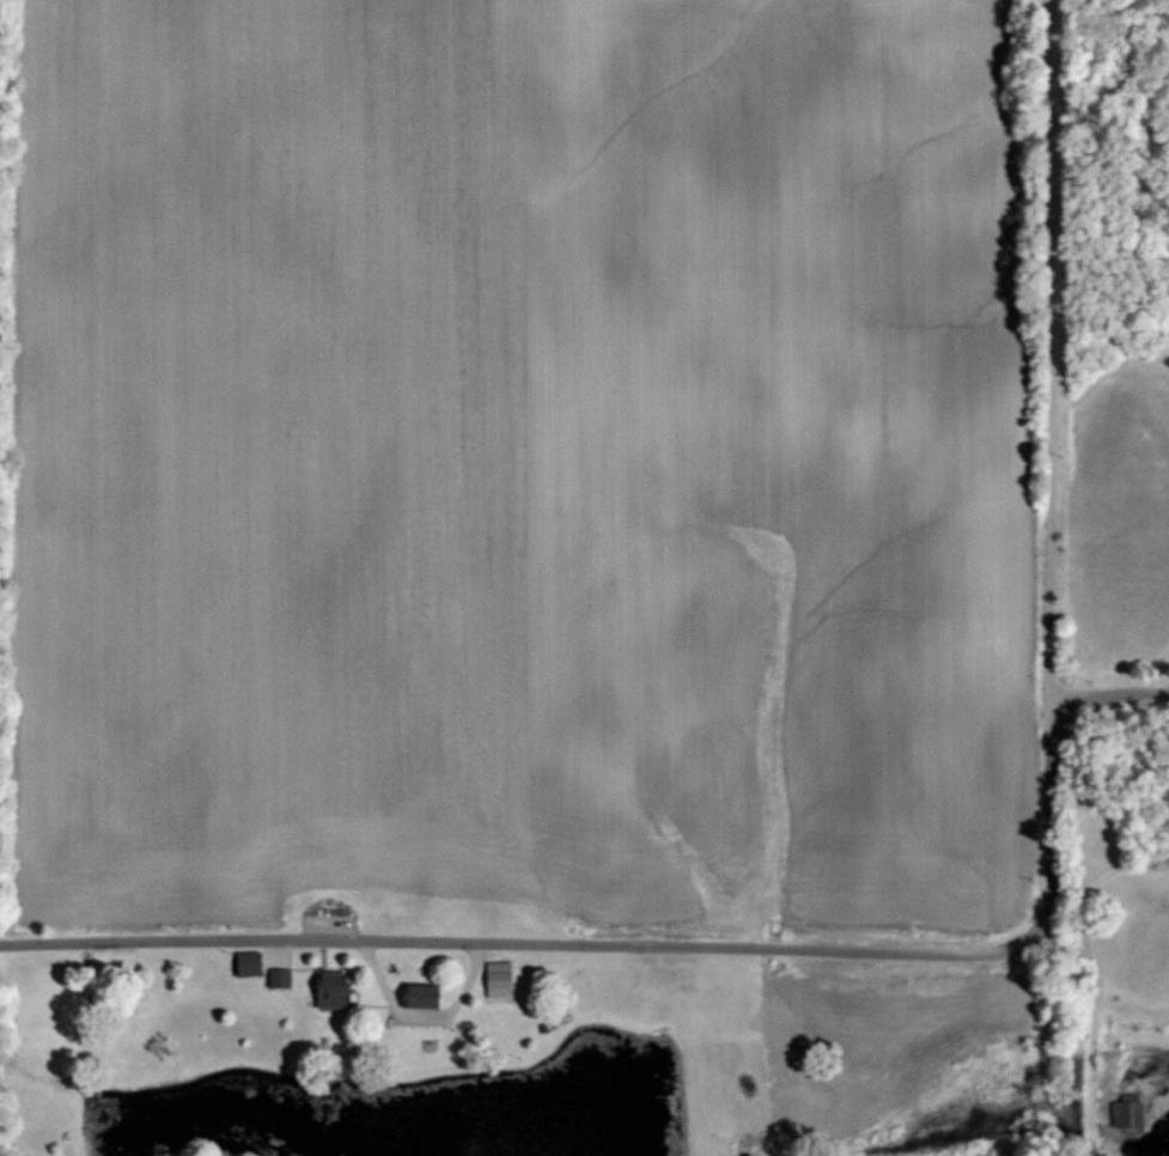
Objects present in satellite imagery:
road: (1048, 361)
road: (686, 945)
building: (246, 963)
building: (278, 978)
road: (1096, 978)
building: (329, 990)
building: (419, 997)

